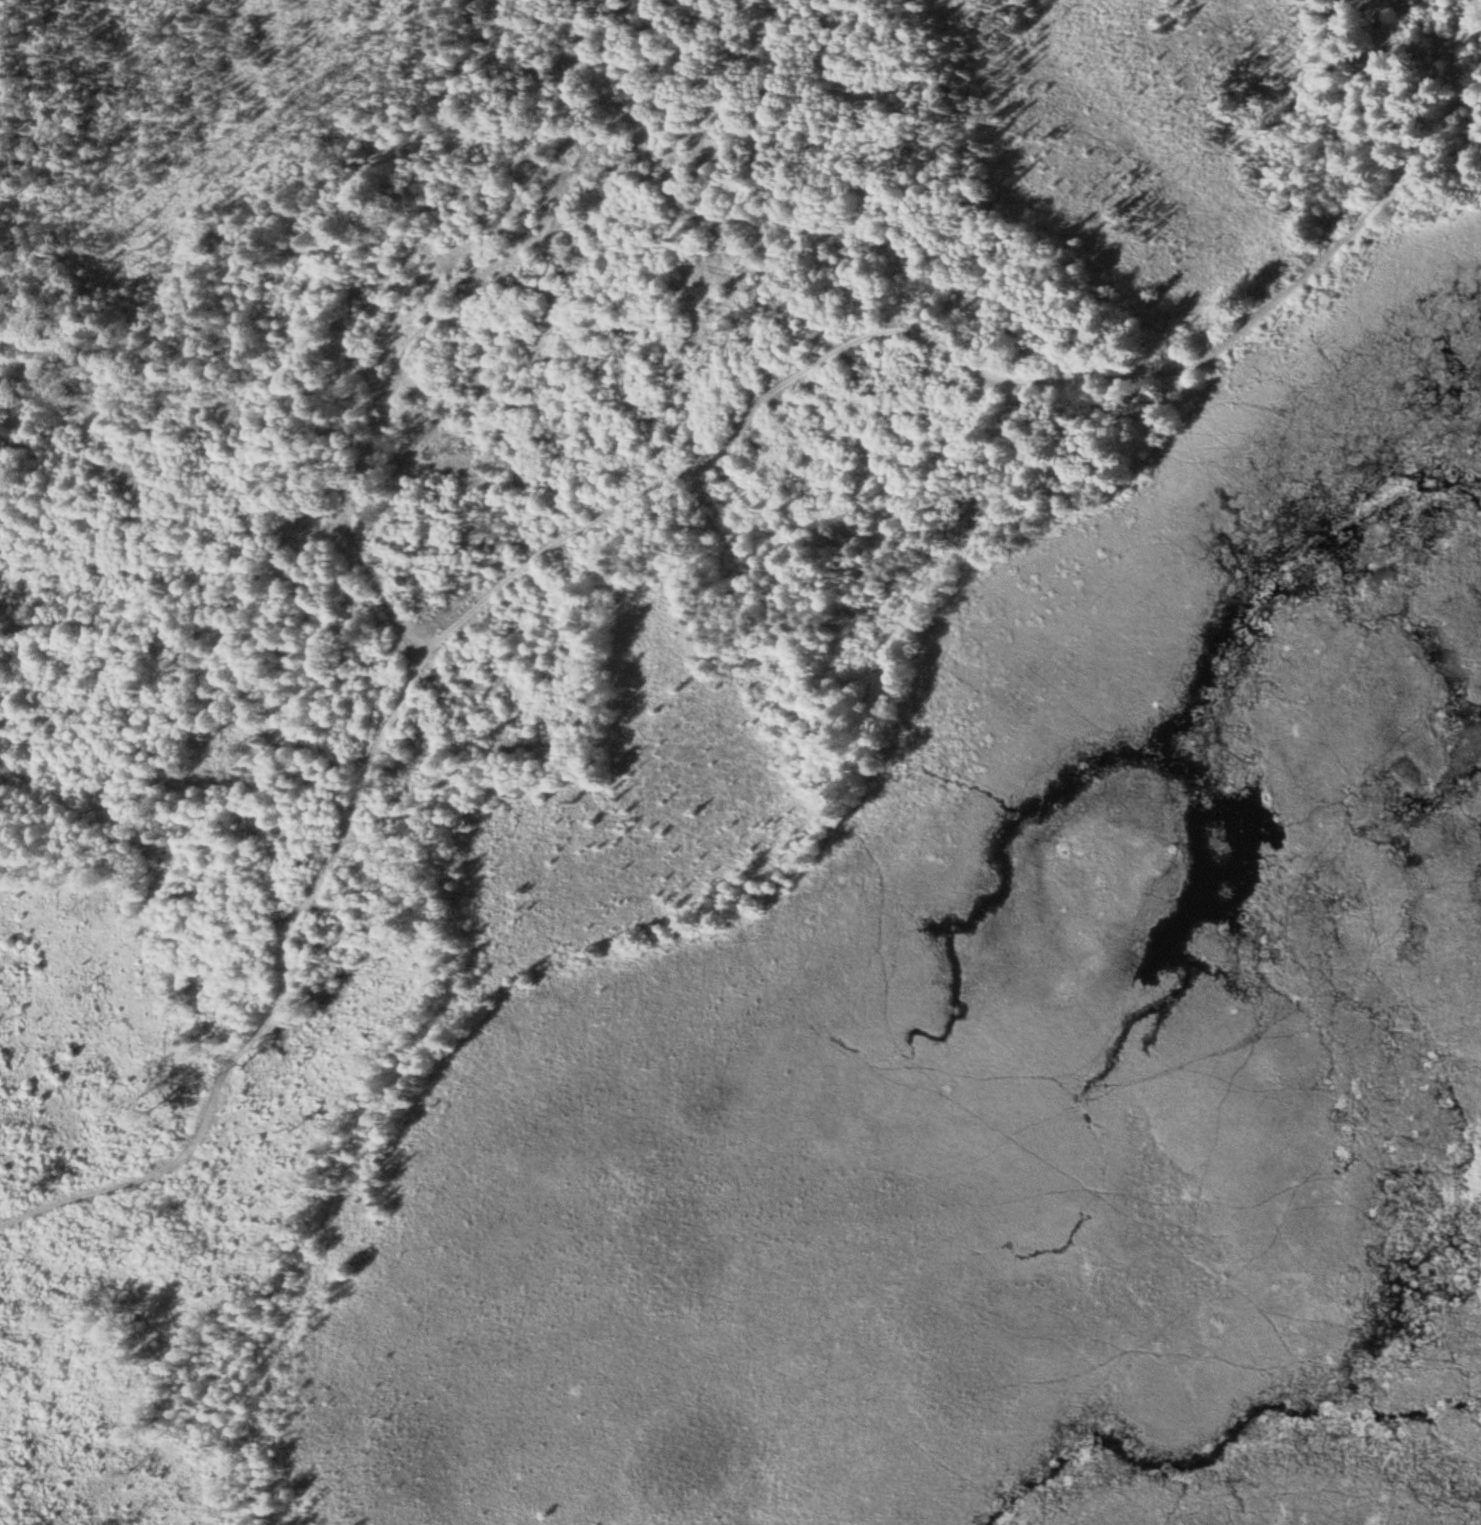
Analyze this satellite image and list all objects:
road: (631, 495)

